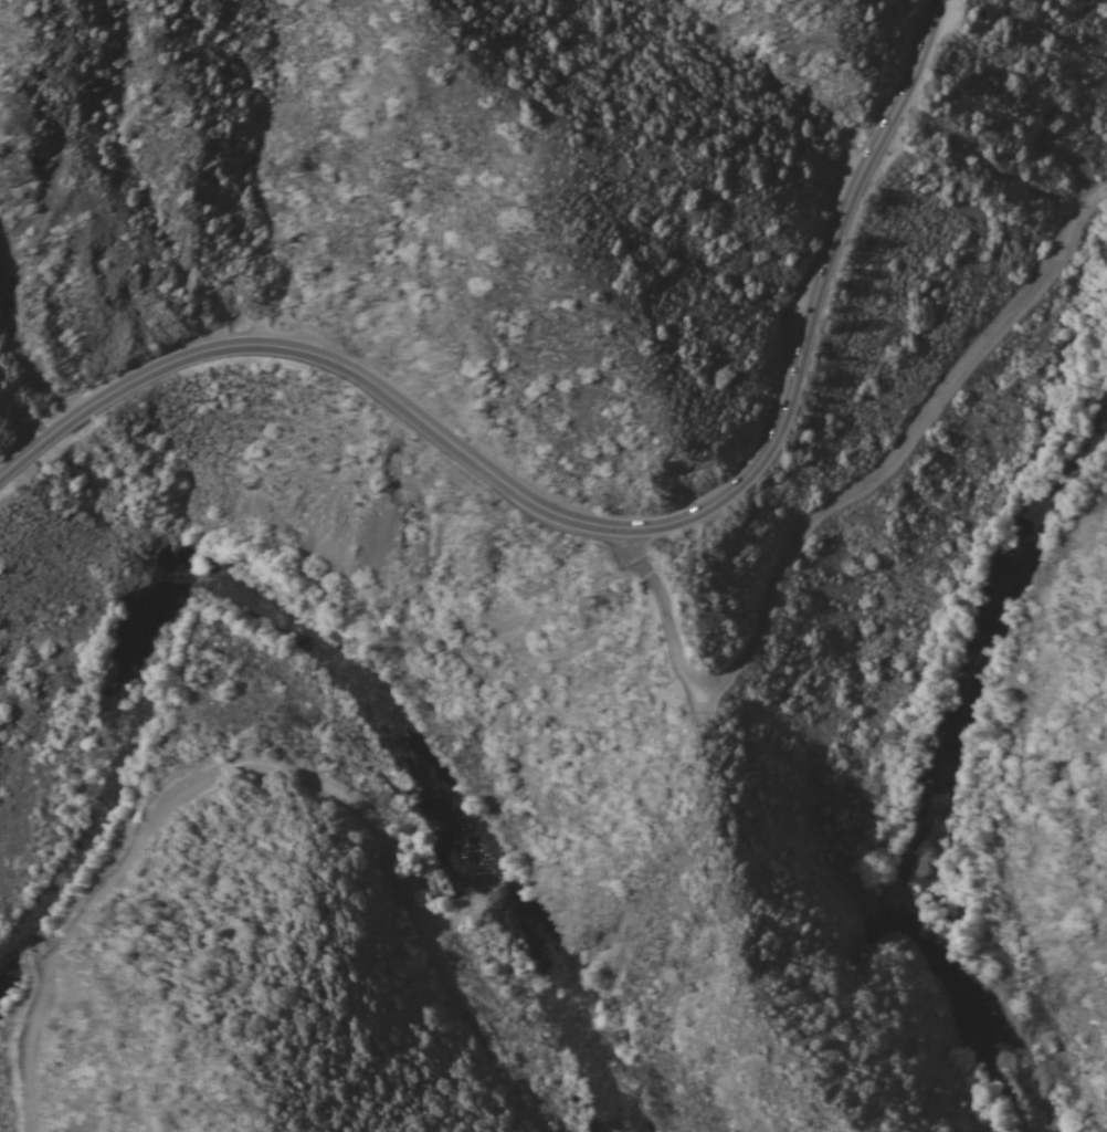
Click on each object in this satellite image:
road: (834, 501)
road: (592, 521)
river: (235, 675)
river: (941, 768)
road: (220, 774)
river: (571, 1013)
road: (1066, 1054)
road: (524, 1093)

